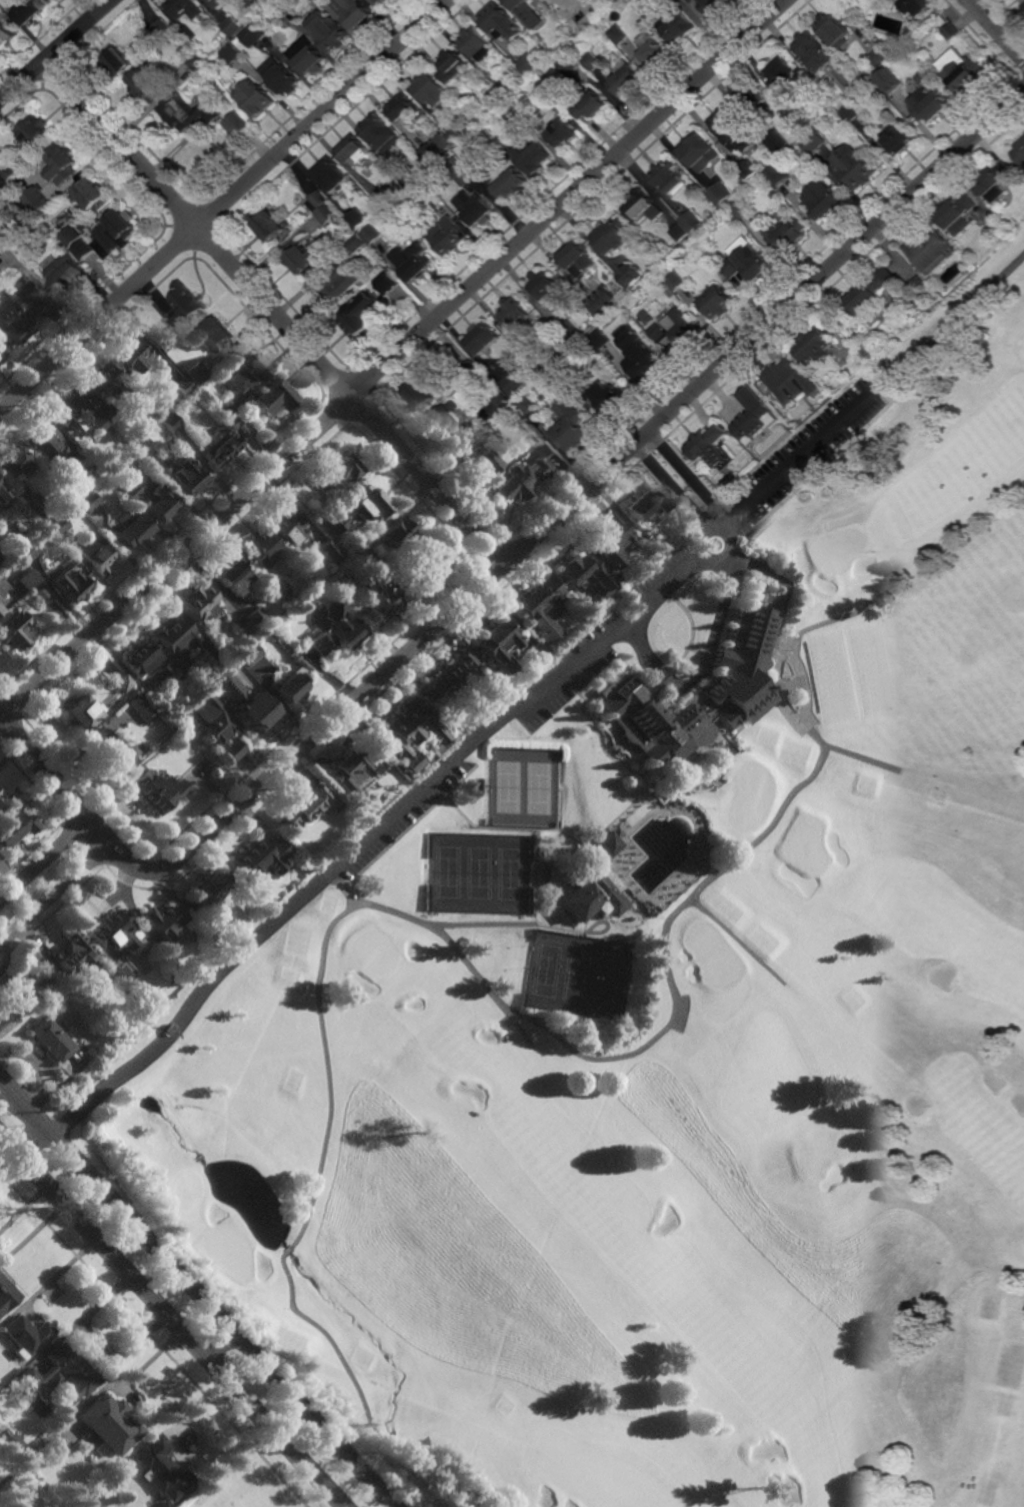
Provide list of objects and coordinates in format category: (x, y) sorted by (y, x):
building: (217, 0)
building: (55, 1)
building: (1022, 1)
building: (381, 2)
building: (252, 3)
building: (6, 4)
building: (712, 5)
building: (920, 5)
building: (1023, 6)
building: (188, 8)
building: (523, 8)
building: (282, 9)
building: (33, 10)
building: (354, 12)
building: (495, 15)
building: (940, 19)
building: (568, 20)
building: (677, 26)
building: (234, 27)
road: (998, 28)
building: (162, 29)
building: (834, 29)
building: (330, 31)
building: (952, 32)
building: (190, 33)
building: (535, 33)
building: (620, 34)
building: (7, 35)
building: (255, 35)
building: (476, 43)
road: (57, 50)
building: (652, 50)
building: (815, 51)
building: (234, 55)
building: (879, 57)
building: (125, 58)
building: (312, 58)
building: (593, 61)
building: (199, 63)
building: (570, 63)
building: (452, 66)
building: (797, 66)
building: (529, 68)
building: (780, 72)
building: (965, 75)
building: (283, 76)
building: (625, 78)
building: (889, 83)
building: (147, 85)
building: (504, 88)
building: (430, 89)
building: (751, 95)
building: (494, 97)
building: (258, 98)
building: (930, 98)
building: (560, 104)
building: (594, 106)
building: (403, 108)
building: (189, 112)
building: (852, 114)
building: (517, 118)
building: (239, 124)
building: (729, 128)
building: (563, 132)
building: (37, 134)
building: (382, 134)
building: (457, 134)
building: (899, 140)
building: (816, 142)
building: (435, 146)
building: (780, 148)
building: (353, 150)
building: (698, 151)
building: (1019, 152)
building: (533, 158)
building: (63, 165)
building: (856, 167)
building: (750, 170)
building: (459, 171)
building: (11, 172)
building: (329, 172)
building: (780, 176)
building: (667, 177)
building: (0, 180)
building: (703, 180)
building: (0, 181)
building: (993, 182)
building: (512, 185)
building: (1, 191)
building: (722, 194)
building: (776, 195)
building: (94, 196)
building: (383, 198)
building: (39, 200)
building: (824, 200)
building: (319, 201)
road: (225, 206)
building: (643, 206)
building: (475, 208)
building: (741, 210)
building: (2, 211)
building: (328, 214)
building: (956, 214)
building: (27, 216)
building: (359, 220)
building: (693, 222)
building: (272, 225)
building: (118, 229)
building: (425, 229)
building: (680, 233)
building: (373, 234)
building: (449, 235)
building: (787, 235)
building: (613, 236)
building: (72, 237)
building: (698, 239)
building: (356, 245)
building: (3, 246)
building: (930, 251)
building: (305, 258)
building: (578, 258)
building: (412, 262)
building: (747, 262)
building: (2, 273)
building: (67, 275)
building: (631, 276)
building: (675, 281)
building: (918, 281)
building: (390, 283)
building: (340, 286)
building: (548, 288)
building: (872, 293)
building: (606, 301)
building: (34, 302)
building: (718, 302)
building: (188, 306)
road: (274, 310)
building: (516, 315)
building: (647, 318)
building: (359, 324)
building: (682, 329)
building: (11, 331)
building: (570, 332)
building: (657, 333)
building: (218, 335)
building: (484, 340)
building: (600, 340)
building: (160, 344)
building: (816, 347)
building: (528, 351)
building: (130, 356)
building: (642, 357)
road: (393, 359)
building: (536, 363)
building: (472, 368)
building: (243, 371)
building: (560, 372)
building: (192, 377)
building: (517, 382)
building: (102, 383)
building: (793, 383)
building: (182, 386)
building: (420, 396)
building: (609, 397)
building: (272, 398)
building: (501, 401)
building: (527, 405)
building: (223, 408)
building: (747, 409)
building: (69, 410)
building: (511, 410)
building: (109, 413)
building: (233, 419)
building: (450, 419)
building: (169, 421)
building: (98, 422)
building: (570, 424)
building: (107, 431)
building: (39, 438)
building: (711, 444)
building: (218, 445)
building: (141, 447)
building: (481, 458)
building: (11, 459)
building: (338, 466)
building: (527, 471)
building: (183, 474)
road: (589, 482)
building: (2, 493)
building: (147, 496)
building: (85, 499)
building: (368, 500)
building: (644, 501)
building: (33, 503)
road: (712, 518)
building: (329, 520)
building: (287, 524)
road: (718, 524)
building: (57, 527)
building: (128, 527)
building: (394, 530)
building: (12, 535)
building: (602, 535)
building: (68, 544)
building: (261, 546)
building: (328, 549)
building: (24, 550)
building: (360, 552)
building: (93, 553)
building: (0, 556)
building: (424, 562)
building: (232, 573)
building: (316, 576)
building: (596, 576)
building: (26, 578)
building: (332, 578)
building: (403, 578)
road: (782, 583)
building: (69, 584)
building: (279, 588)
building: (1, 591)
building: (39, 594)
building: (371, 598)
building: (2, 600)
building: (200, 600)
building: (539, 606)
building: (255, 616)
building: (241, 623)
road: (712, 628)
building: (14, 629)
building: (334, 629)
building: (173, 639)
building: (496, 641)
road: (636, 645)
building: (536, 651)
building: (215, 653)
building: (246, 653)
building: (144, 659)
road: (655, 675)
building: (460, 678)
building: (121, 682)
building: (289, 684)
building: (696, 687)
road: (532, 690)
building: (246, 702)
building: (140, 707)
building: (78, 710)
building: (217, 725)
building: (409, 733)
building: (111, 749)
road: (852, 754)
building: (353, 766)
road: (32, 785)
building: (477, 785)
building: (525, 787)
park: (525, 787)
building: (157, 790)
building: (0, 798)
road: (74, 801)
building: (308, 805)
building: (9, 828)
building: (600, 842)
road: (84, 843)
road: (32, 851)
road: (44, 859)
building: (261, 859)
road: (720, 868)
building: (479, 872)
park: (479, 872)
building: (545, 874)
road: (341, 888)
building: (209, 889)
building: (593, 892)
road: (56, 893)
road: (51, 912)
building: (520, 916)
building: (162, 920)
road: (484, 924)
road: (430, 926)
building: (113, 934)
building: (74, 953)
building: (578, 974)
park: (578, 974)
building: (11, 995)
park: (666, 1023)
building: (48, 1040)
road: (23, 1115)
road: (31, 1232)
road: (57, 1274)
road: (196, 1292)
building: (6, 1294)
road: (171, 1320)
building: (25, 1335)
road: (328, 1339)
road: (152, 1341)
building: (61, 1373)
road: (193, 1418)
building: (108, 1423)
building: (13, 1441)
building: (159, 1472)
building: (161, 1504)

